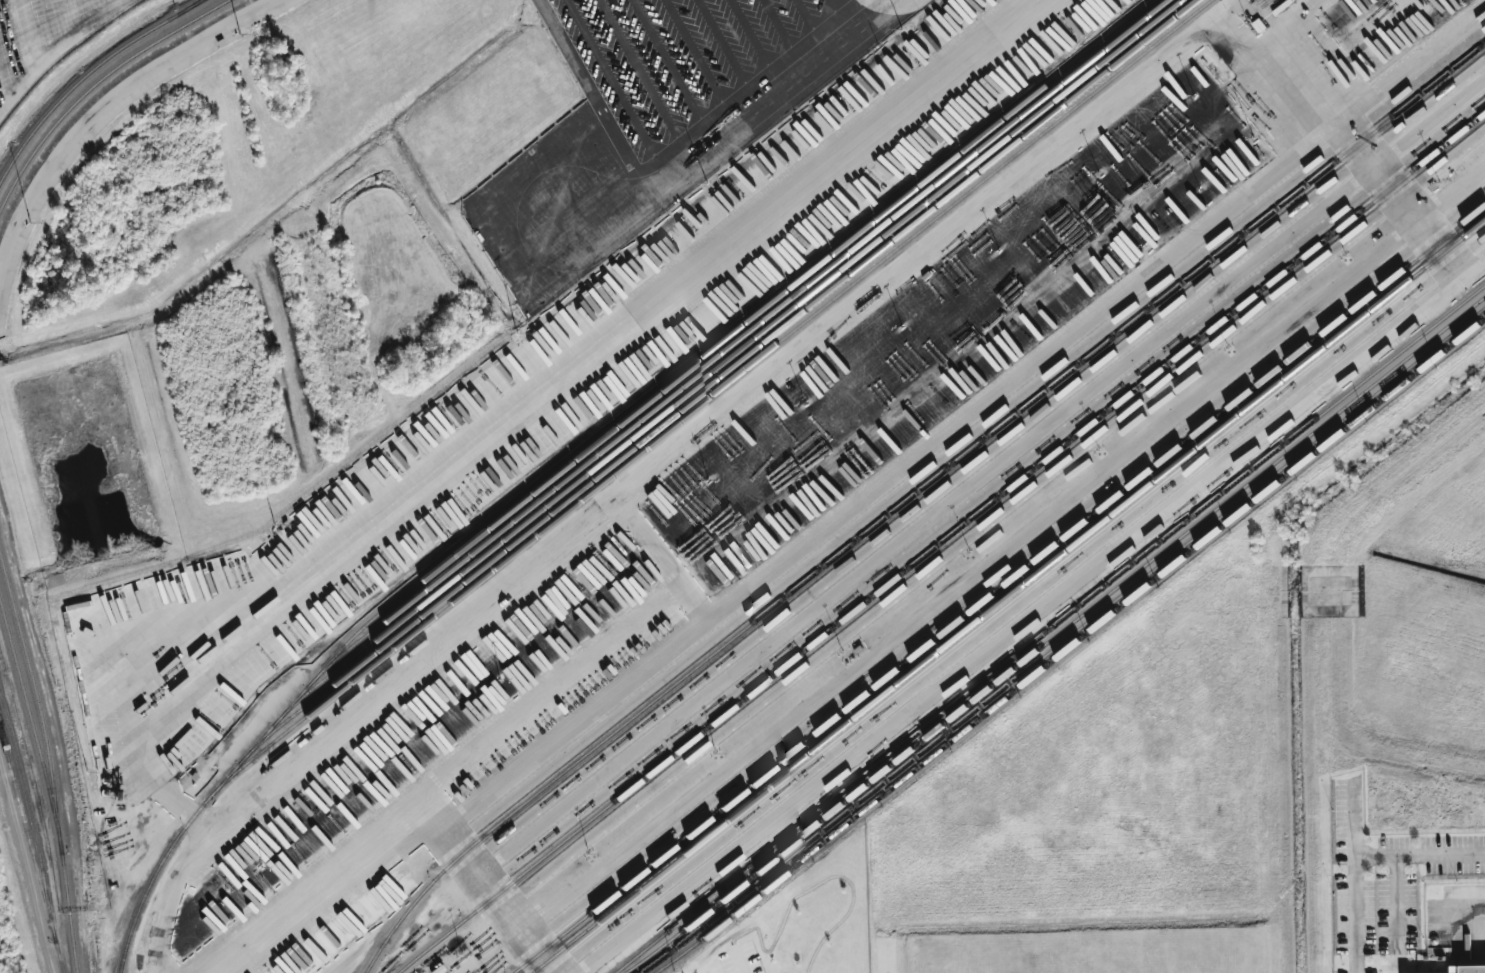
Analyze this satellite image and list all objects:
road: (1294, 22)
road: (1407, 61)
road: (39, 67)
railway: (84, 72)
railway: (93, 82)
road: (1348, 141)
road: (671, 147)
railway: (1286, 200)
railway: (751, 331)
railway: (741, 349)
railway: (696, 360)
railway: (1265, 383)
railway: (705, 392)
road: (525, 407)
railway: (631, 460)
road: (663, 461)
road: (887, 476)
road: (663, 556)
railway: (1027, 569)
road: (938, 595)
railway: (1007, 596)
road: (1036, 614)
railway: (31, 715)
railway: (51, 755)
road: (447, 773)
railway: (31, 849)
road: (1365, 856)
road: (27, 866)
road: (487, 885)
road: (740, 961)
building: (1467, 969)

